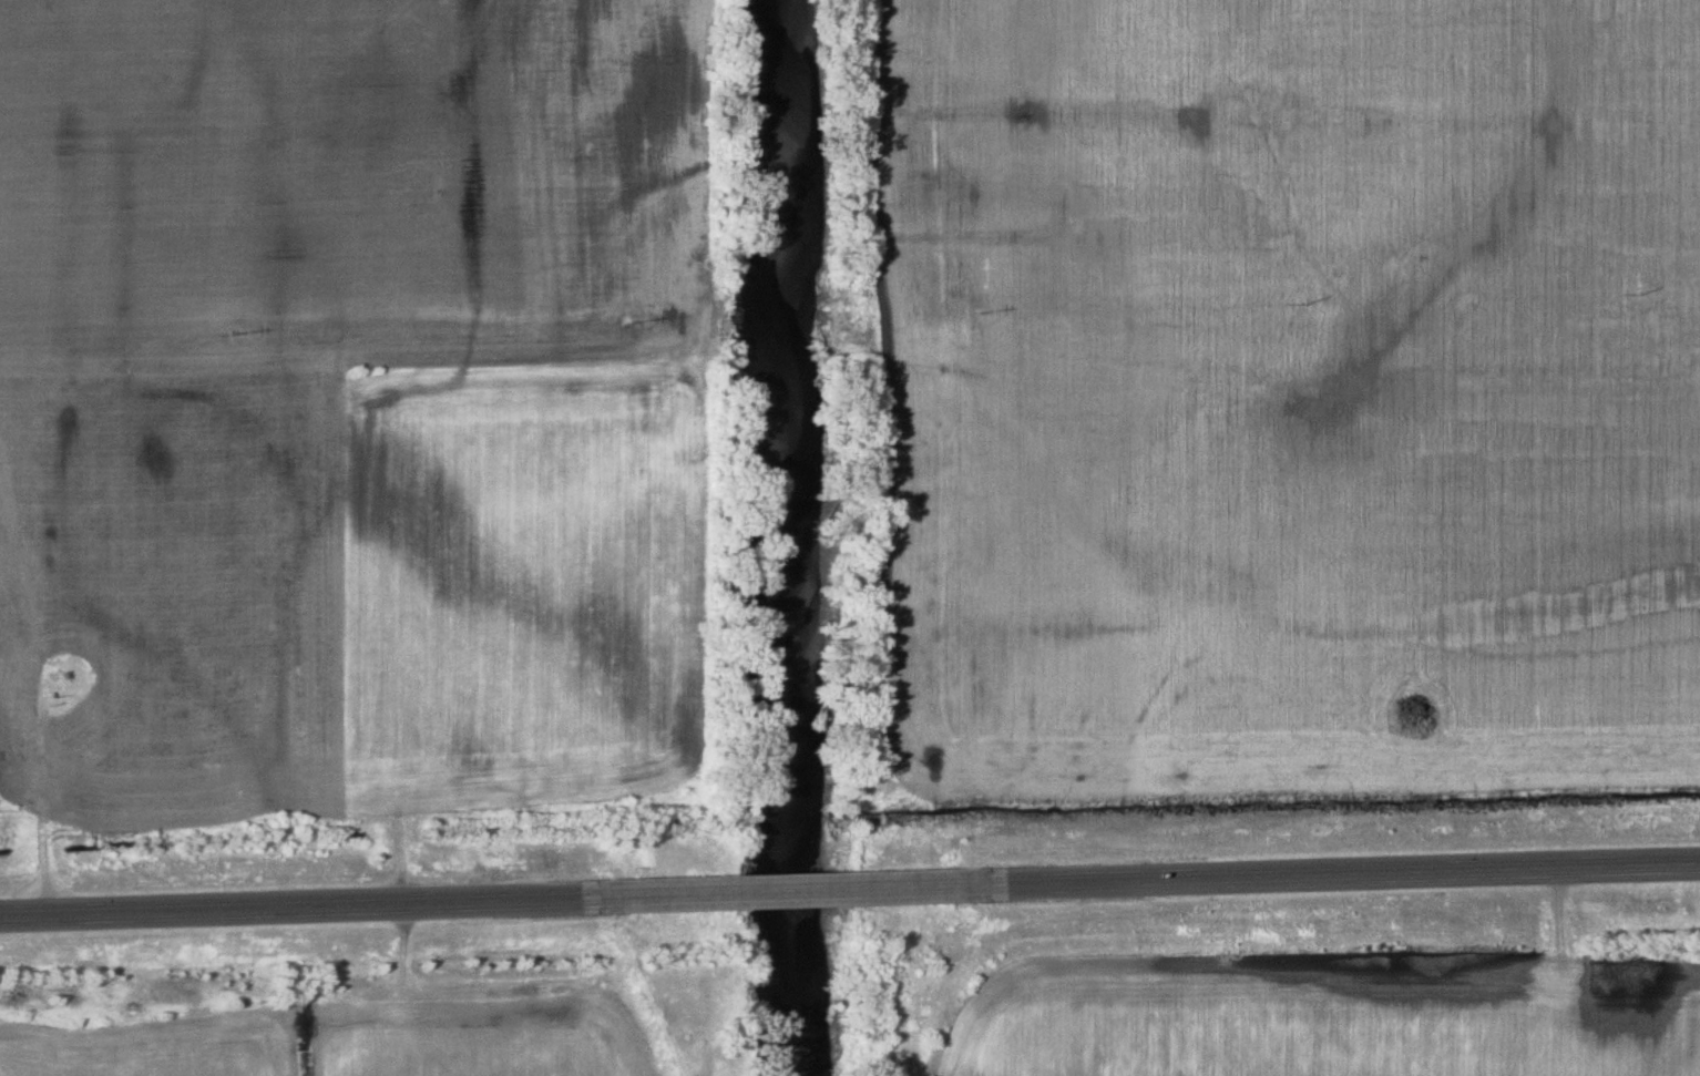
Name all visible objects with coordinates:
crop: (354, 188)
crop: (1292, 397)
road: (1345, 873)
road: (792, 891)
road: (296, 906)
crop: (1329, 1021)
crop: (348, 1043)

